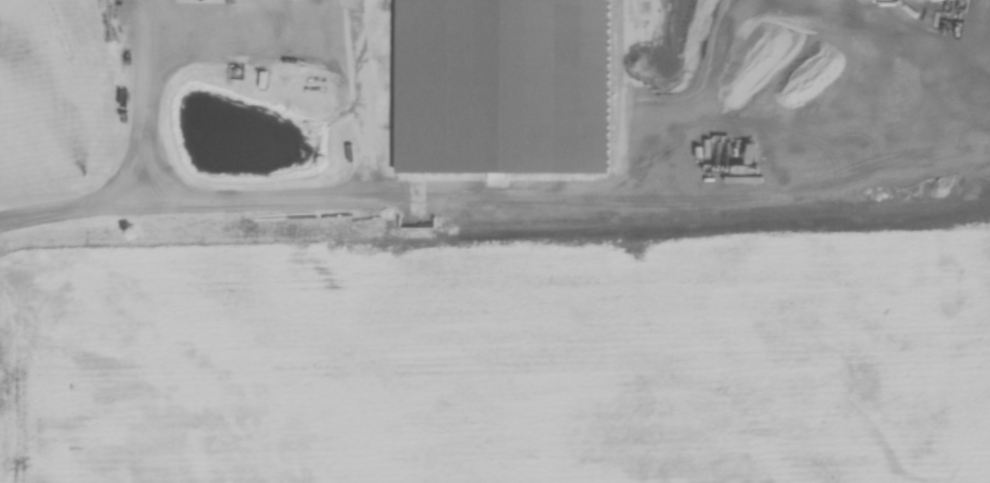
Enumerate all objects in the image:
building: (506, 87)

